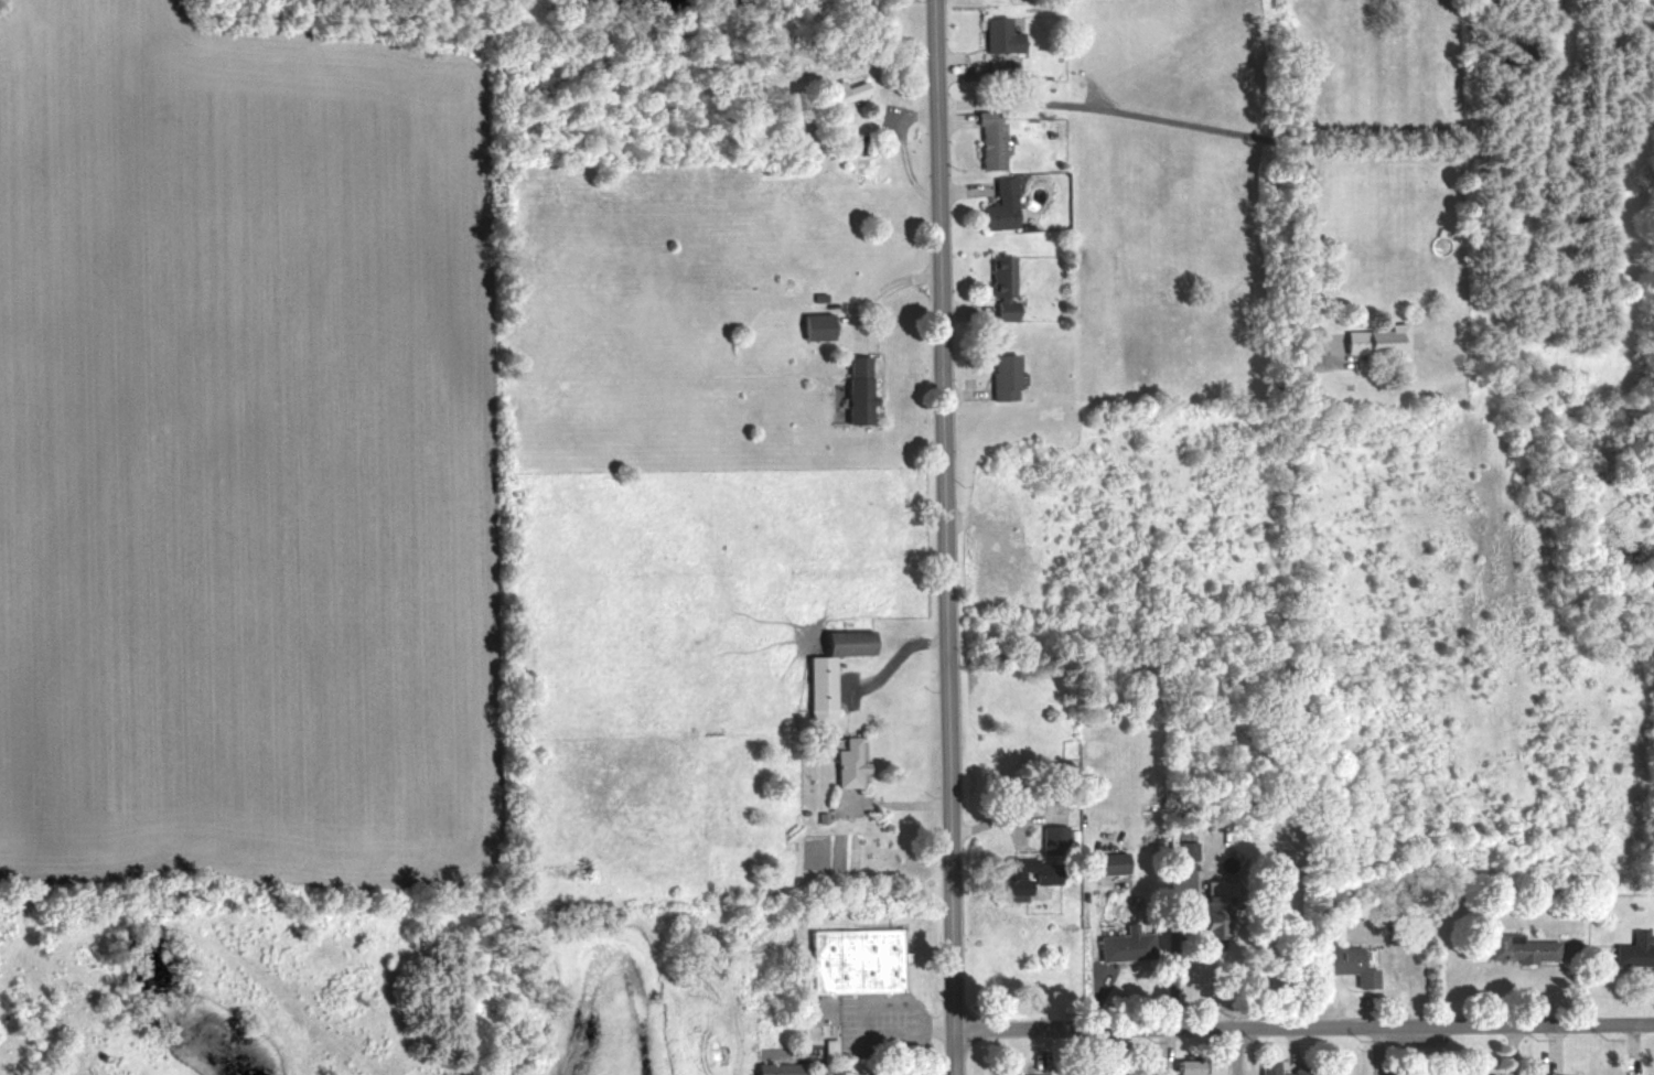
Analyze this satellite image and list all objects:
building: (995, 35)
building: (844, 88)
road: (1213, 131)
building: (986, 140)
building: (998, 205)
building: (1001, 287)
building: (815, 326)
building: (1372, 342)
building: (1001, 377)
building: (856, 388)
crop: (253, 450)
road: (942, 537)
building: (839, 643)
road: (893, 660)
building: (814, 690)
building: (841, 764)
building: (1181, 849)
building: (1106, 862)
building: (1013, 870)
building: (1120, 946)
building: (1515, 947)
building: (1631, 949)
building: (852, 961)
building: (1340, 964)
road: (1302, 1026)
road: (907, 1029)
road: (1236, 1051)
building: (1265, 1064)
building: (1182, 1066)
building: (774, 1068)
building: (1035, 1074)

